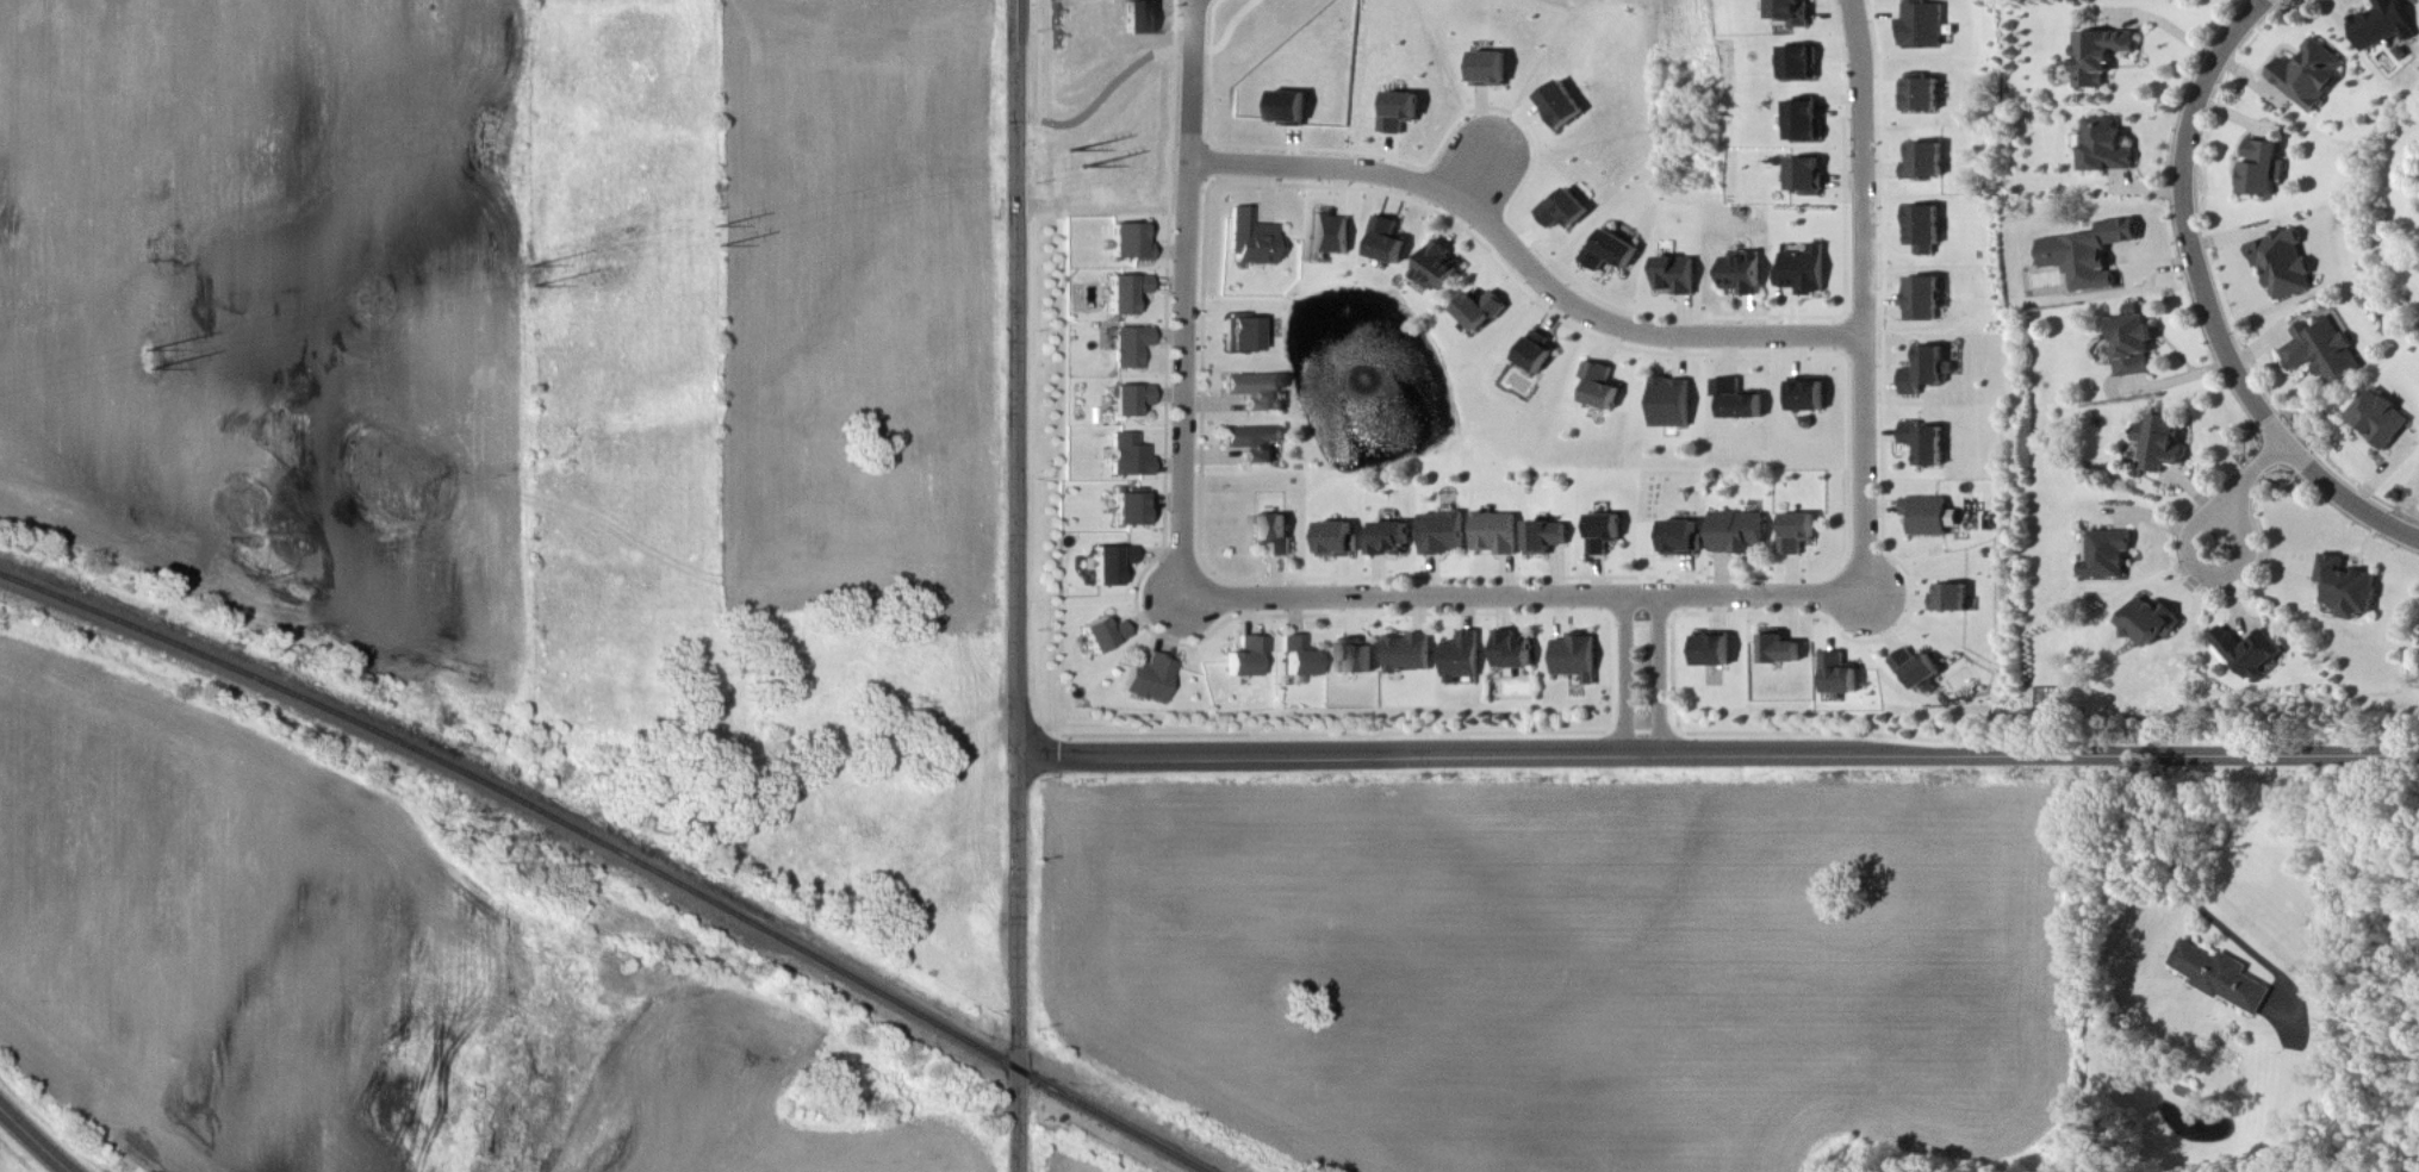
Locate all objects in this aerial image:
building: (1798, 13)
building: (2386, 26)
building: (1923, 27)
building: (2102, 58)
building: (1805, 66)
building: (1490, 70)
building: (2312, 76)
building: (1923, 95)
building: (1563, 108)
building: (1292, 110)
building: (1403, 114)
building: (1807, 121)
building: (2109, 149)
power tower: (1072, 150)
building: (1928, 163)
power tower: (1084, 168)
building: (2263, 170)
building: (1807, 177)
road: (1474, 181)
building: (1566, 211)
power tower: (717, 226)
building: (1924, 230)
building: (1330, 235)
building: (1246, 239)
building: (1389, 241)
building: (1127, 242)
power tower: (722, 247)
building: (1612, 251)
building: (2091, 254)
road: (1523, 260)
building: (2284, 263)
power tower: (533, 267)
building: (1441, 268)
building: (1804, 272)
building: (1743, 274)
building: (1678, 275)
power tower: (539, 286)
building: (1123, 292)
building: (1923, 295)
road: (1864, 297)
road: (1182, 298)
road: (2208, 301)
building: (1484, 310)
building: (1239, 332)
building: (2135, 343)
building: (1127, 347)
power tower: (150, 351)
building: (1540, 351)
building: (2325, 351)
power tower: (154, 370)
building: (1926, 372)
building: (1603, 387)
building: (1255, 389)
building: (1809, 394)
building: (1126, 400)
building: (1740, 400)
building: (1673, 403)
building: (2381, 419)
building: (1255, 443)
building: (1926, 443)
building: (2163, 443)
building: (1126, 456)
road: (2241, 487)
building: (1127, 506)
building: (1930, 516)
building: (1606, 532)
building: (1739, 532)
building: (1443, 534)
building: (1497, 534)
building: (1798, 534)
building: (1274, 535)
building: (1547, 537)
building: (1683, 538)
building: (1336, 540)
building: (1388, 540)
building: (2110, 555)
building: (1109, 563)
road: (1015, 586)
building: (2350, 588)
road: (1524, 597)
building: (1951, 598)
building: (2151, 622)
building: (1102, 635)
building: (1780, 649)
building: (1511, 650)
building: (1715, 652)
building: (2252, 653)
building: (1407, 654)
building: (1246, 656)
building: (1300, 656)
building: (1355, 656)
building: (1577, 657)
building: (1460, 659)
building: (1917, 668)
building: (1840, 674)
road: (1661, 675)
road: (1628, 677)
building: (1149, 679)
road: (1717, 753)
railway: (616, 848)
road: (2190, 896)
building: (2225, 978)
road: (37, 1135)

